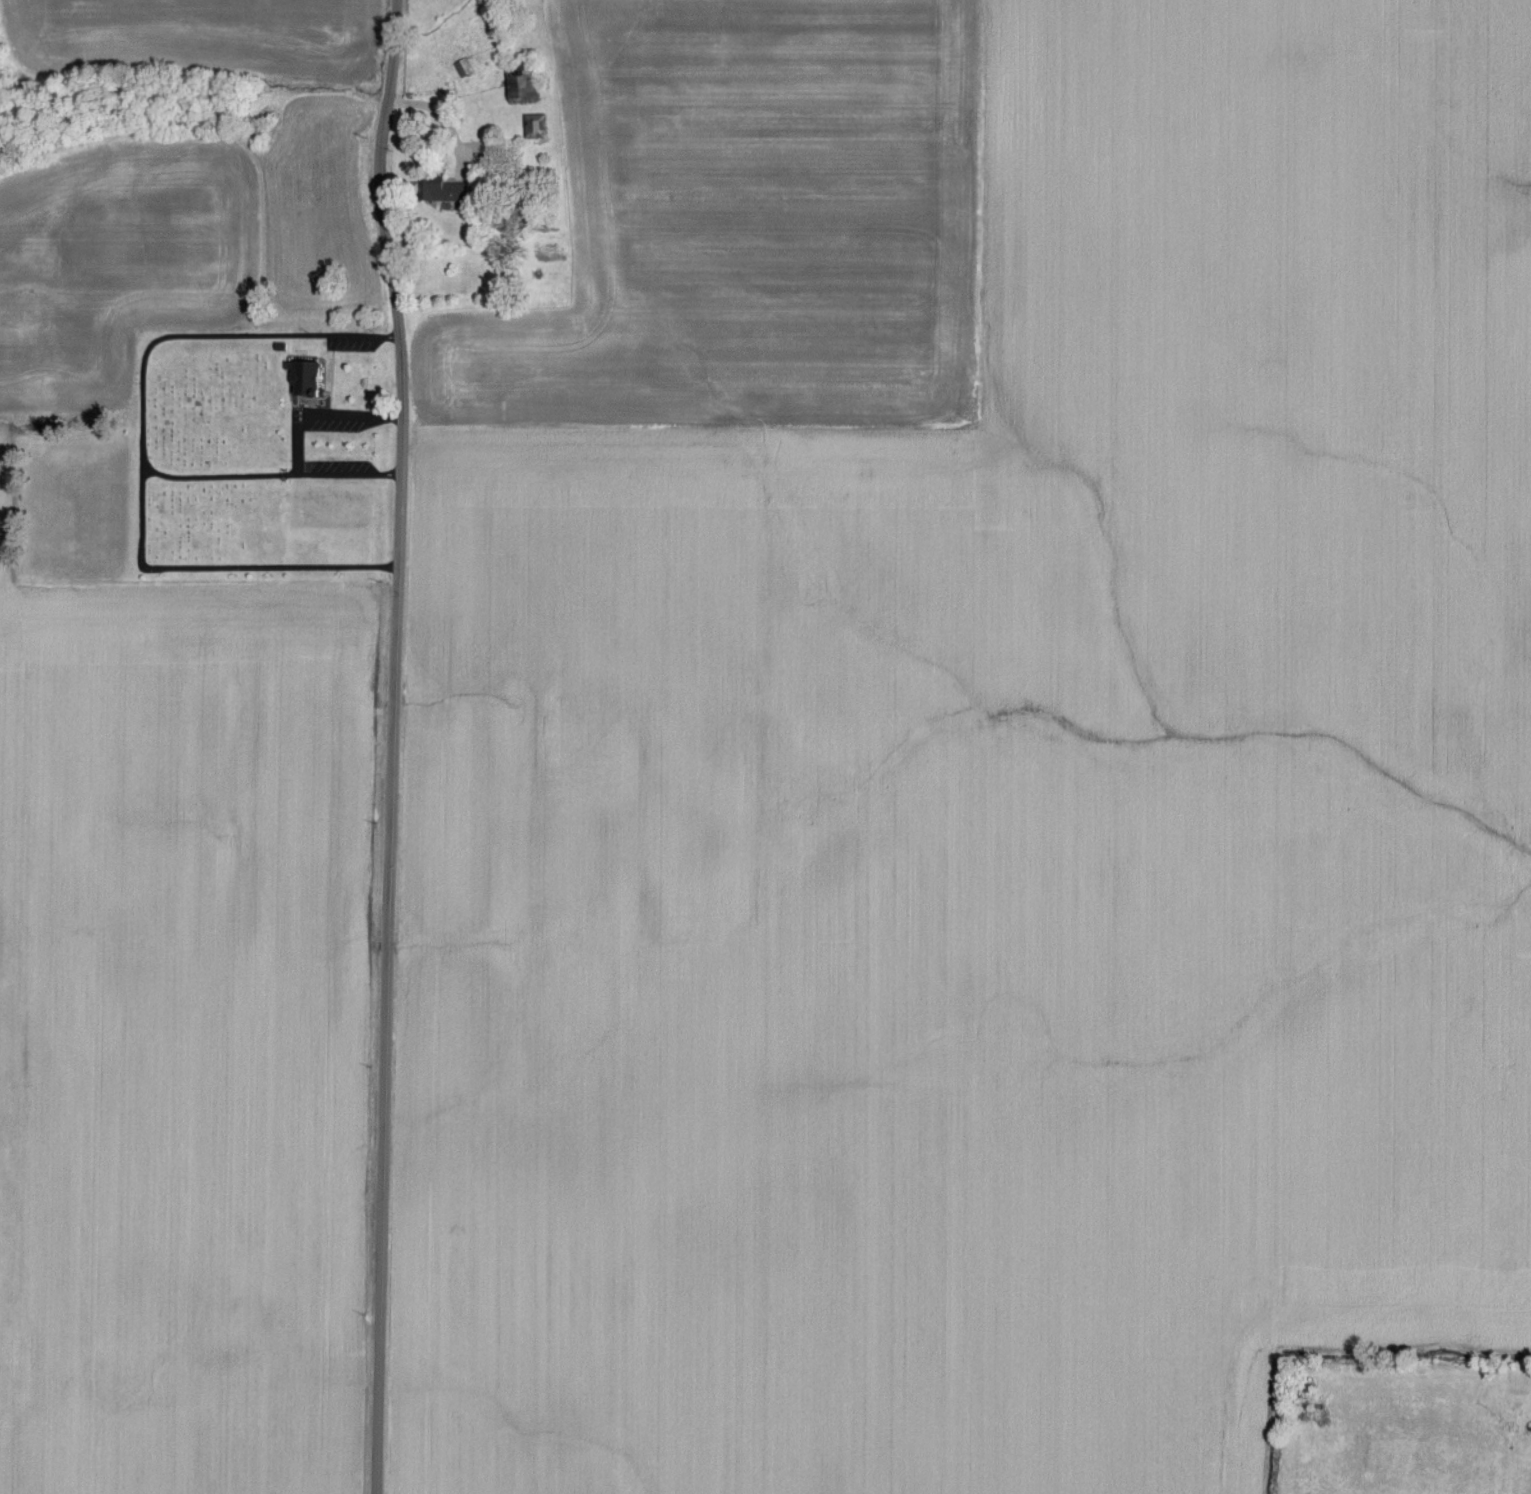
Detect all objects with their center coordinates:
building: (465, 70)
building: (524, 82)
road: (439, 117)
building: (537, 127)
building: (455, 193)
road: (175, 337)
road: (364, 337)
building: (307, 379)
road: (323, 416)
road: (348, 476)
road: (218, 478)
road: (222, 569)
road: (393, 744)

